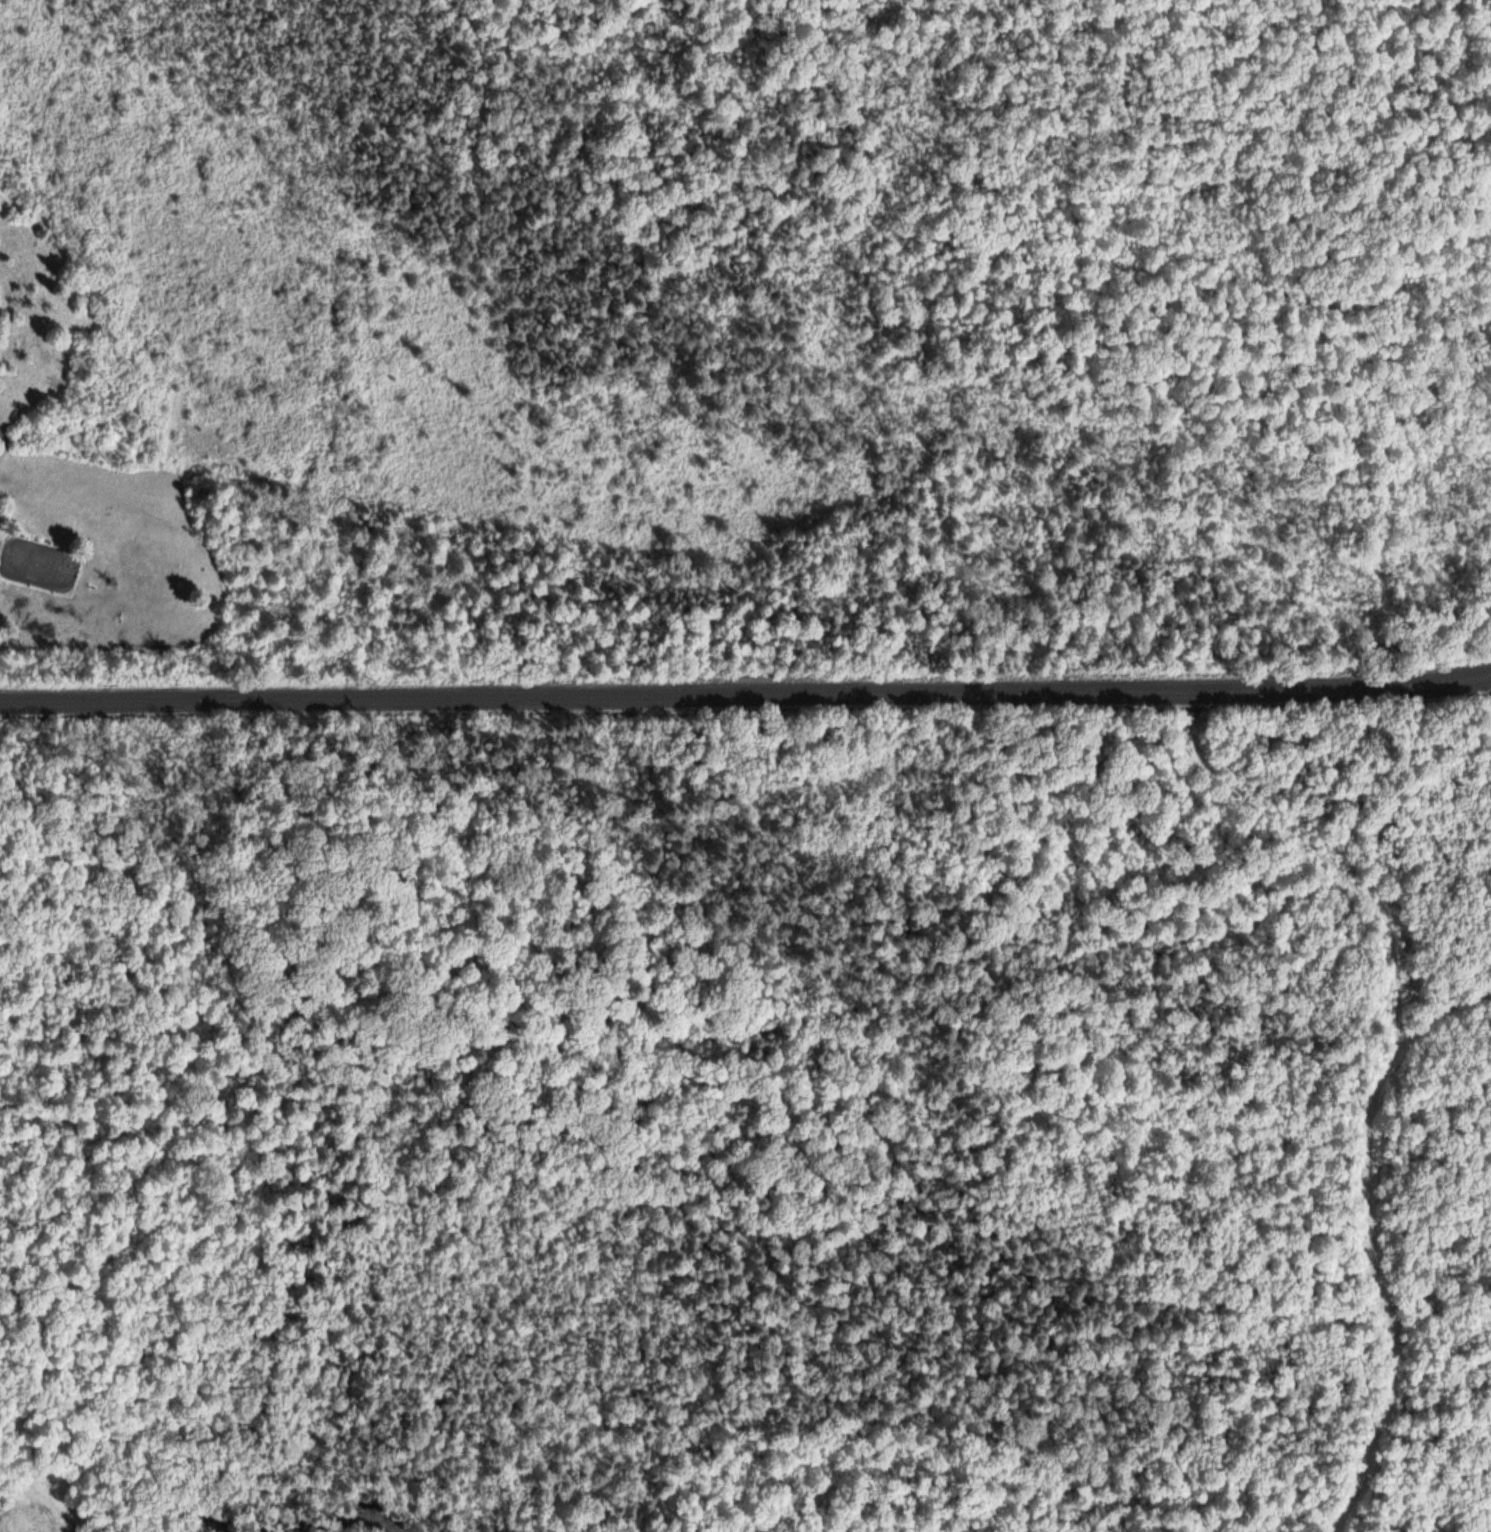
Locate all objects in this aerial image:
road: (745, 690)

